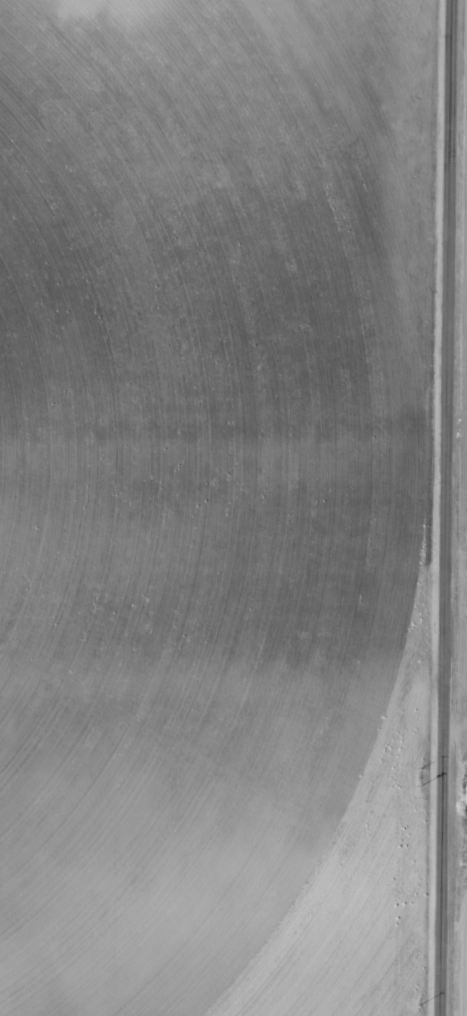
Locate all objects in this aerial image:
road: (443, 508)
road: (455, 566)
road: (219, 734)

